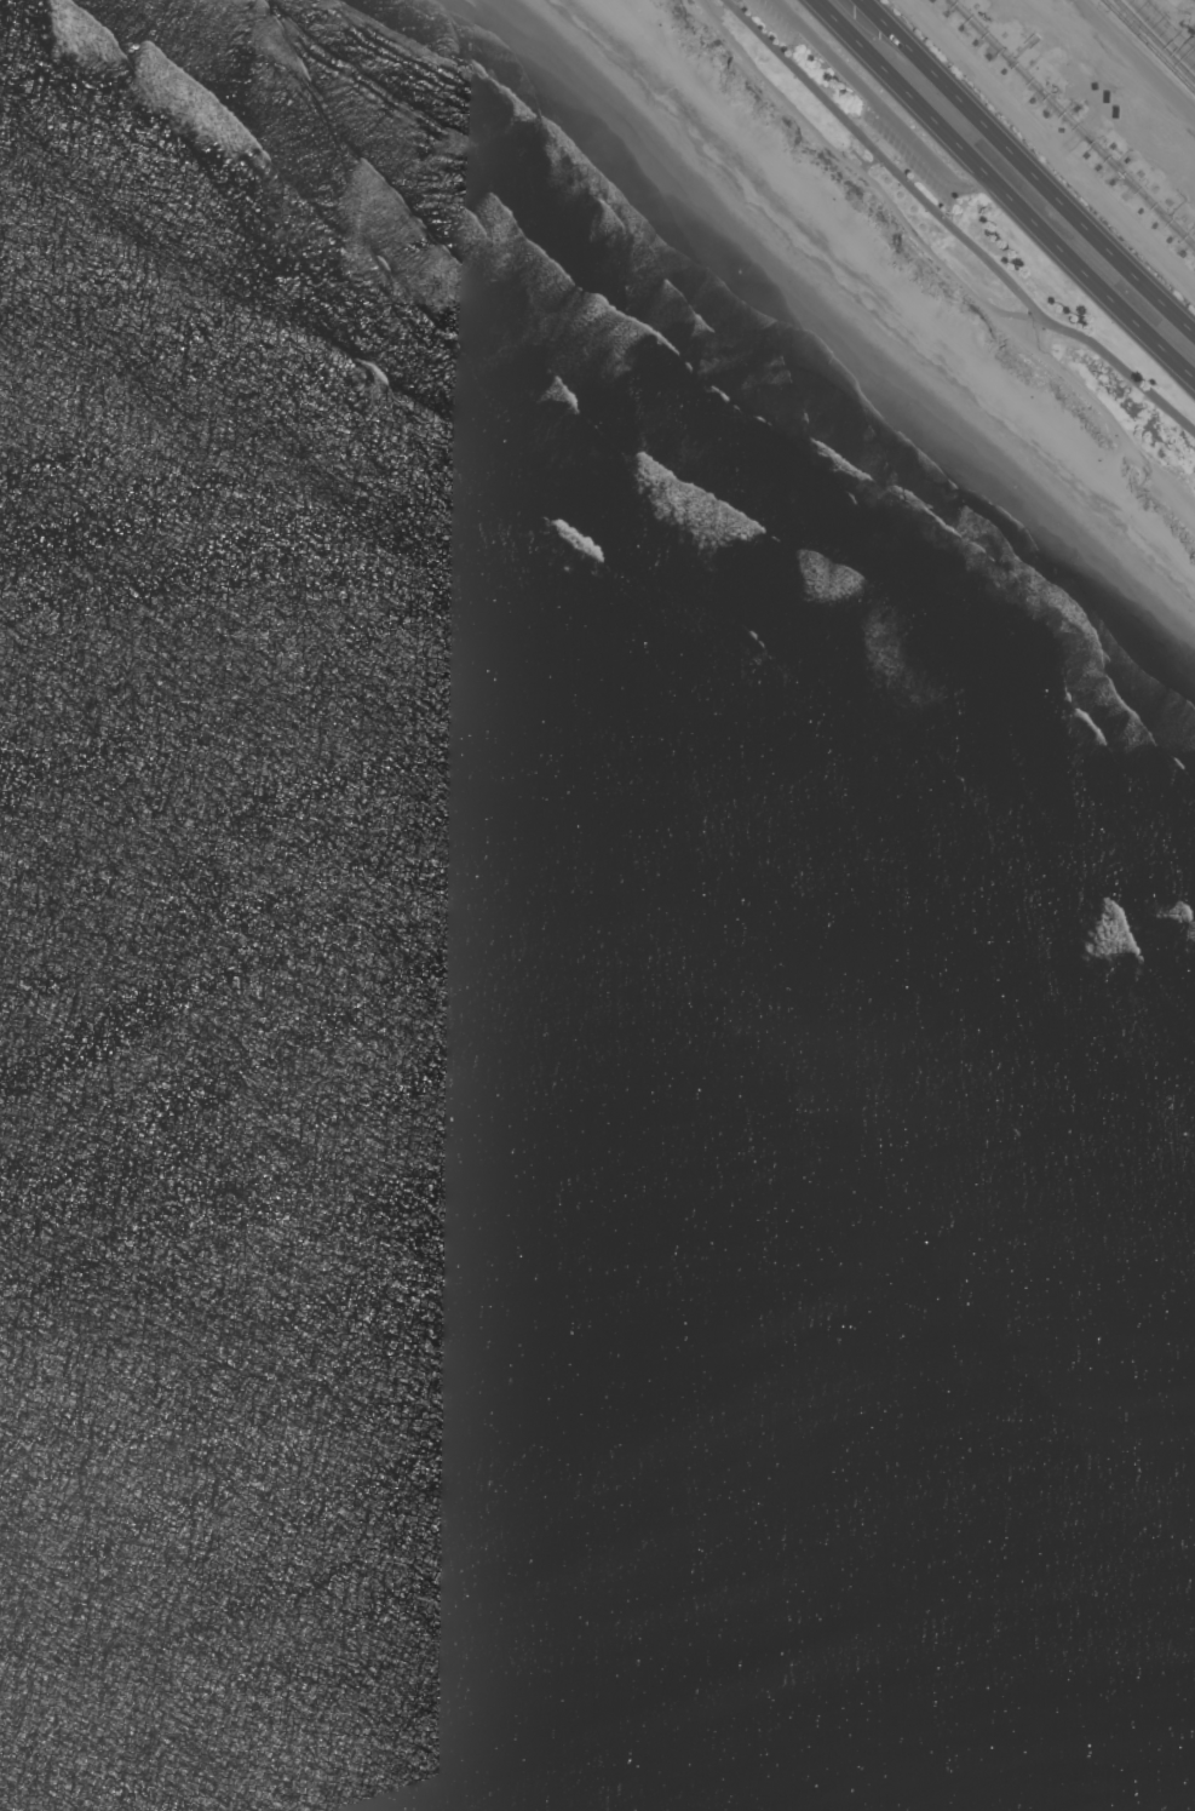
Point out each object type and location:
road: (1137, 58)
road: (869, 92)
road: (1053, 143)
parking lot: (913, 149)
road: (1030, 164)
road: (976, 187)
road: (1004, 190)
road: (955, 227)

